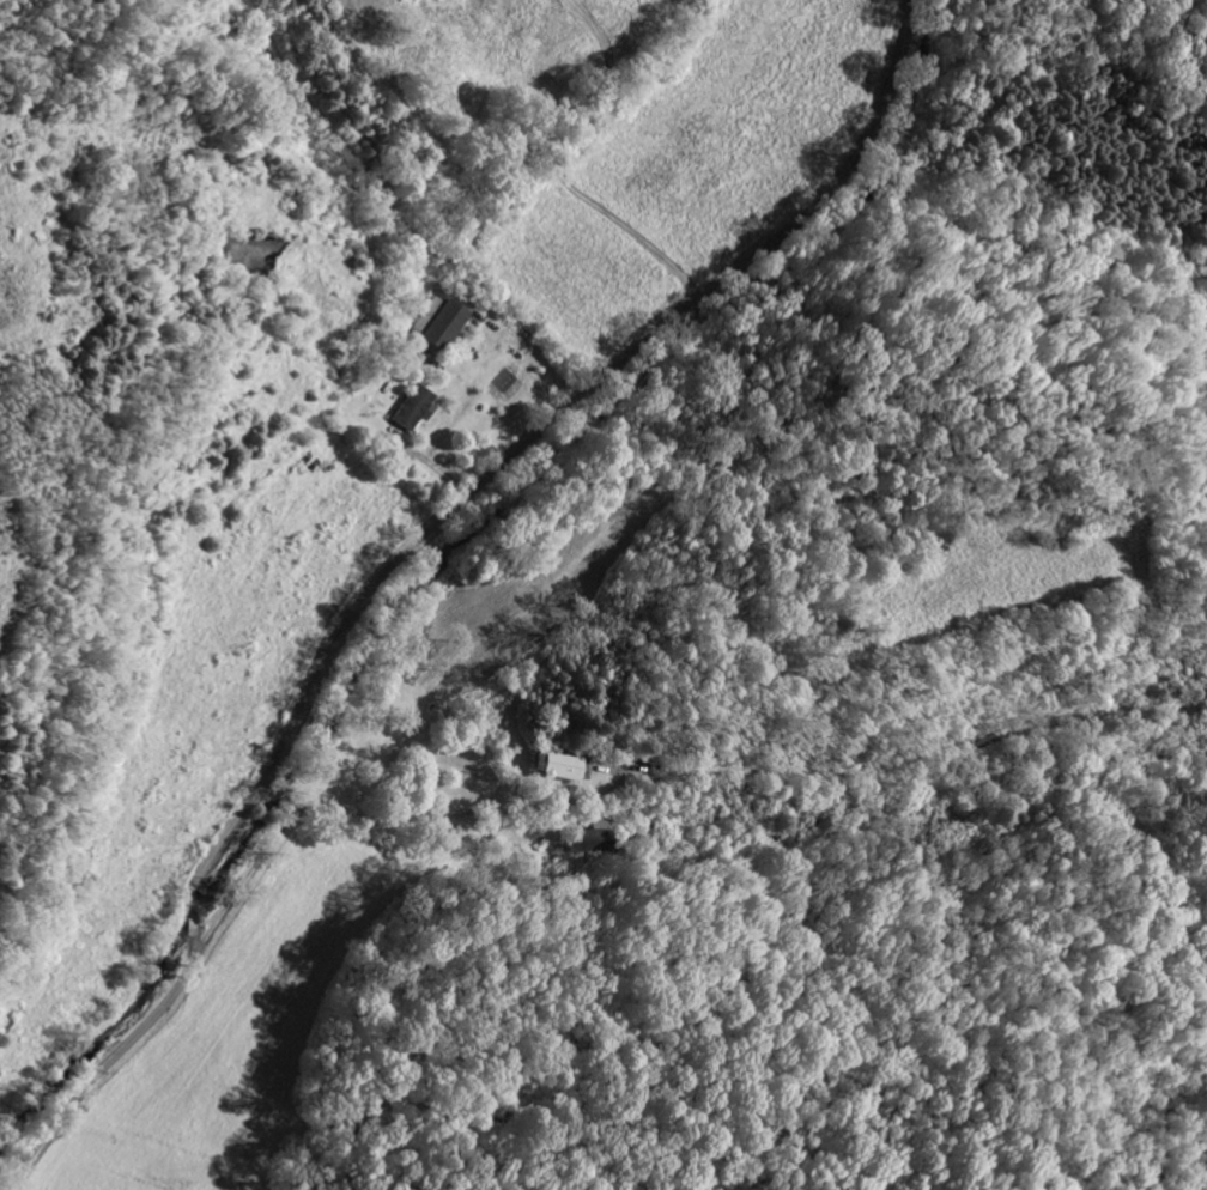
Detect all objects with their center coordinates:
building: (437, 322)
building: (411, 407)
road: (405, 548)
building: (552, 766)
building: (587, 842)

